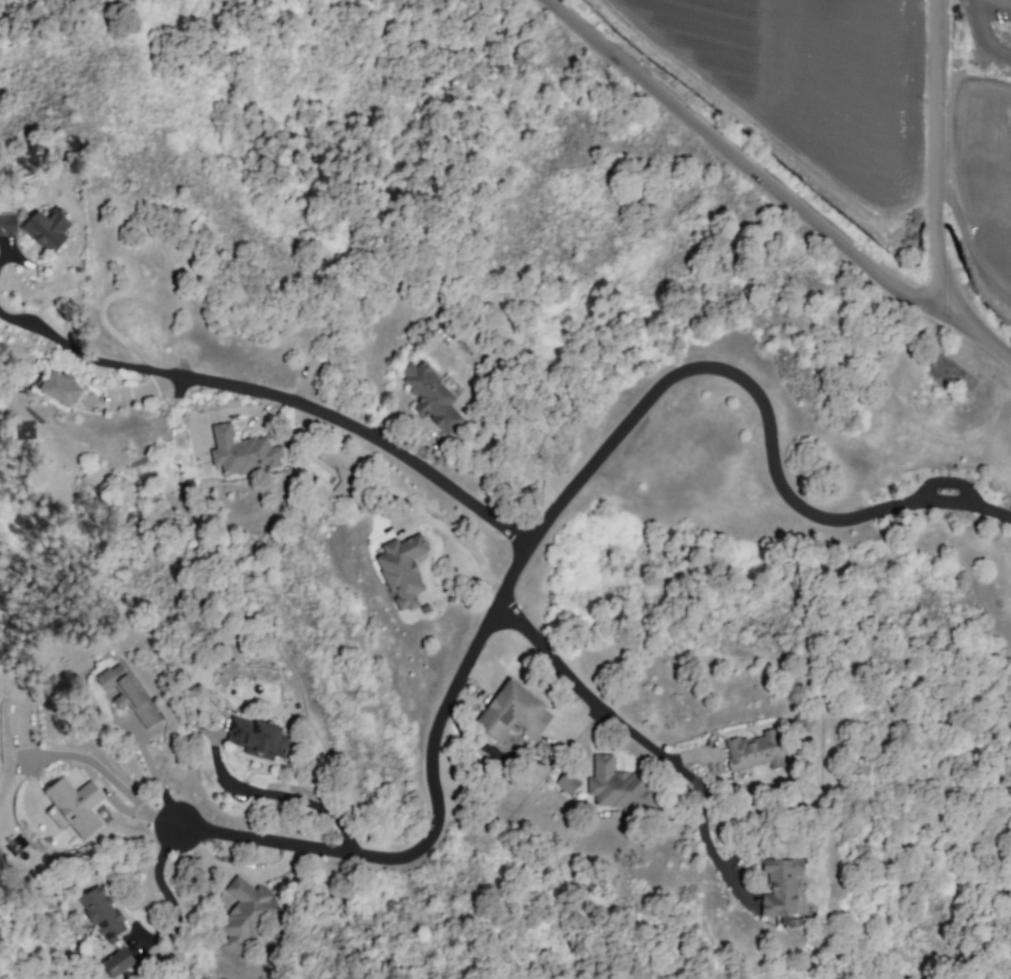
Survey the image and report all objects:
road: (975, 77)
crop: (812, 83)
crop: (989, 137)
road: (939, 161)
road: (746, 166)
building: (7, 224)
building: (47, 228)
road: (4, 256)
road: (44, 333)
road: (983, 337)
building: (58, 388)
building: (431, 396)
road: (325, 418)
building: (241, 452)
road: (550, 519)
building: (402, 570)
building: (128, 694)
road: (603, 705)
building: (514, 712)
building: (257, 738)
building: (753, 751)
road: (81, 757)
building: (567, 782)
building: (619, 788)
road: (288, 799)
road: (708, 847)
building: (780, 886)
building: (102, 914)
building: (243, 914)
building: (117, 962)

